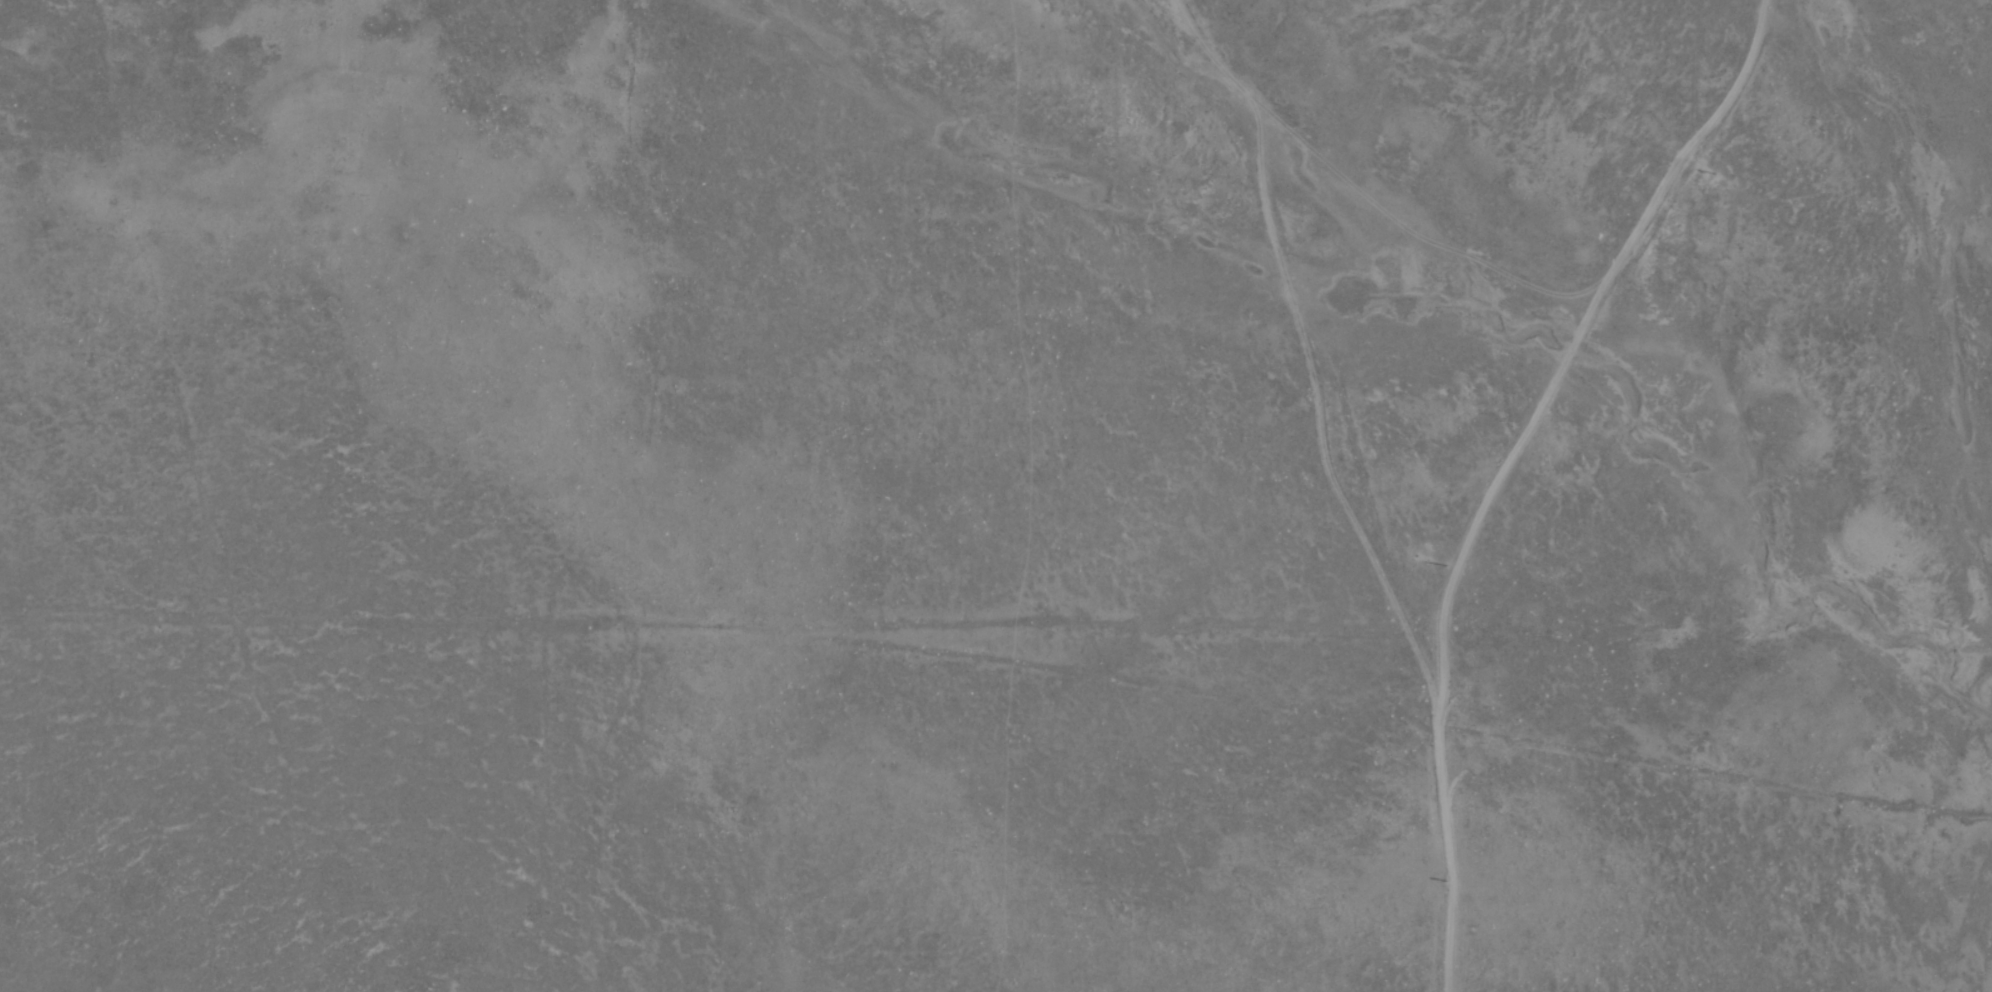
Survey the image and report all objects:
road: (1345, 490)

